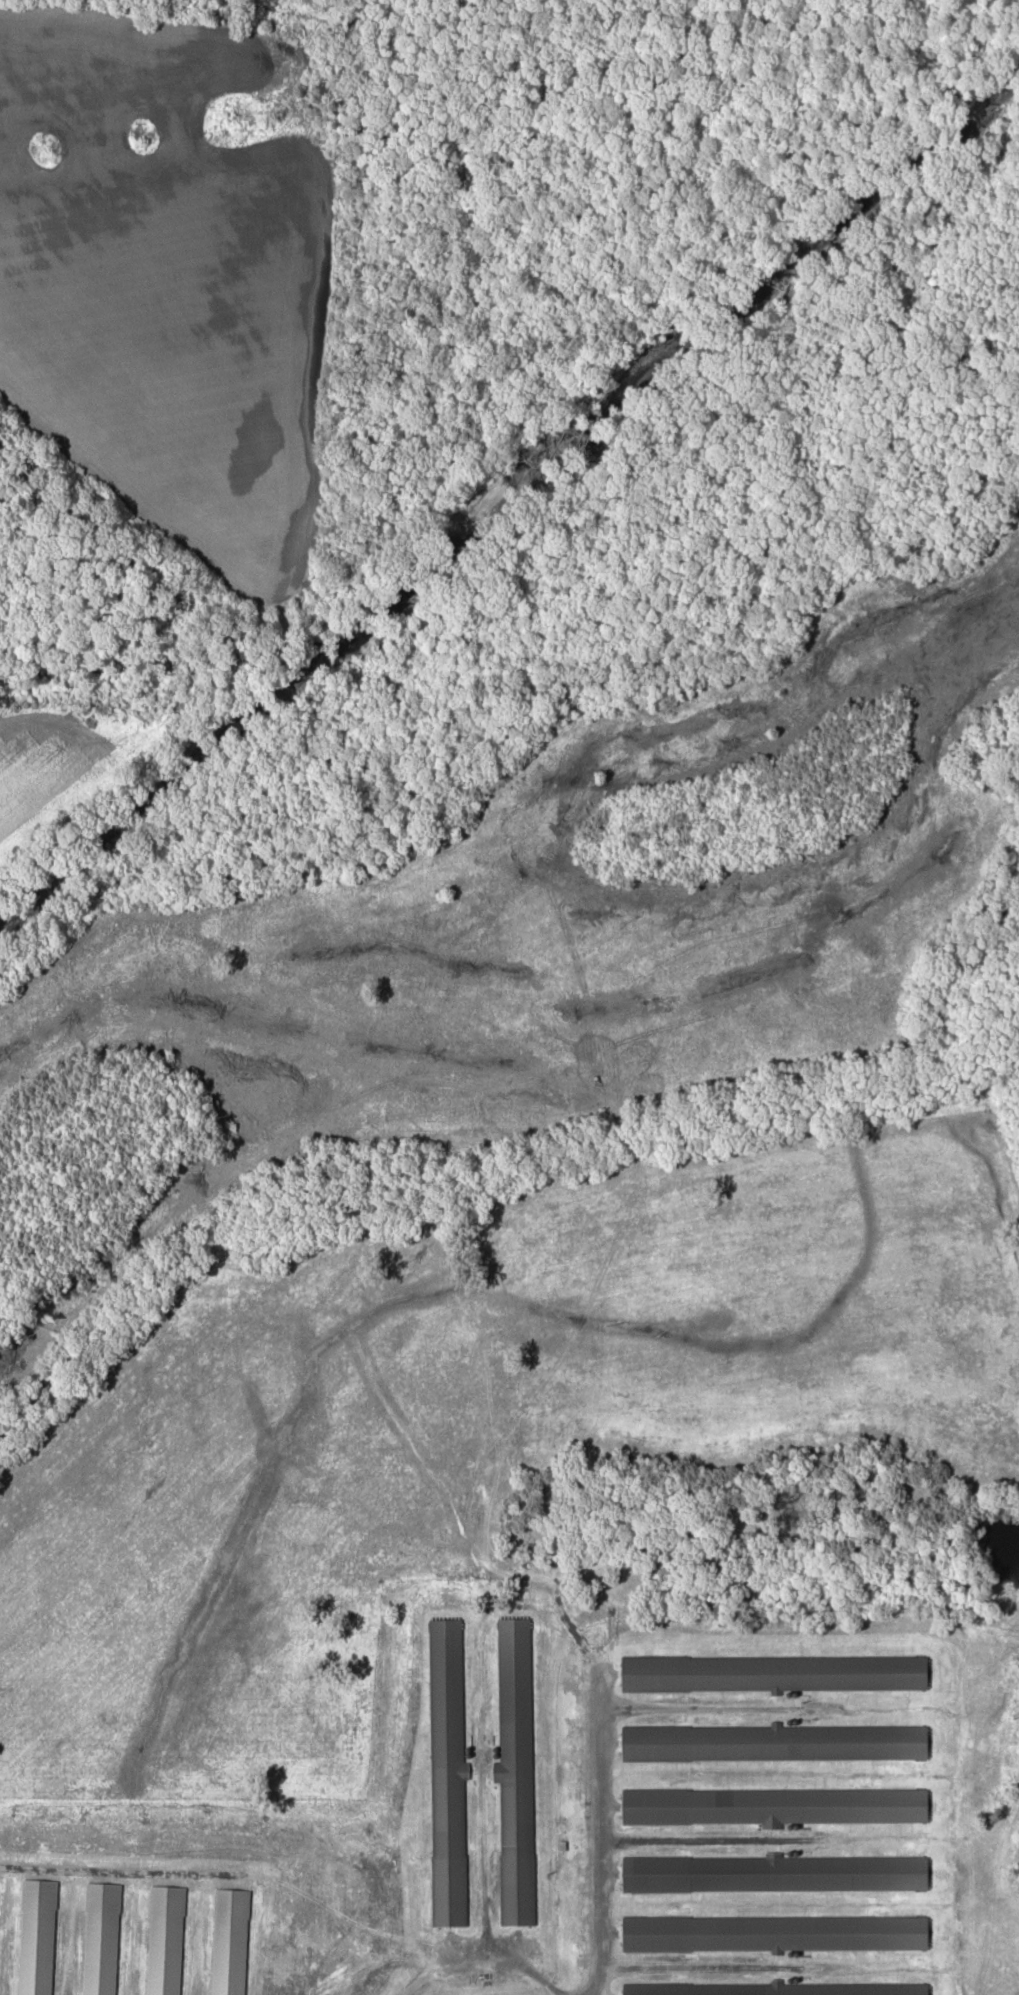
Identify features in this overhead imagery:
building: (780, 1673)
building: (778, 1743)
building: (779, 1806)
building: (778, 1873)
building: (778, 1933)
building: (779, 1989)

